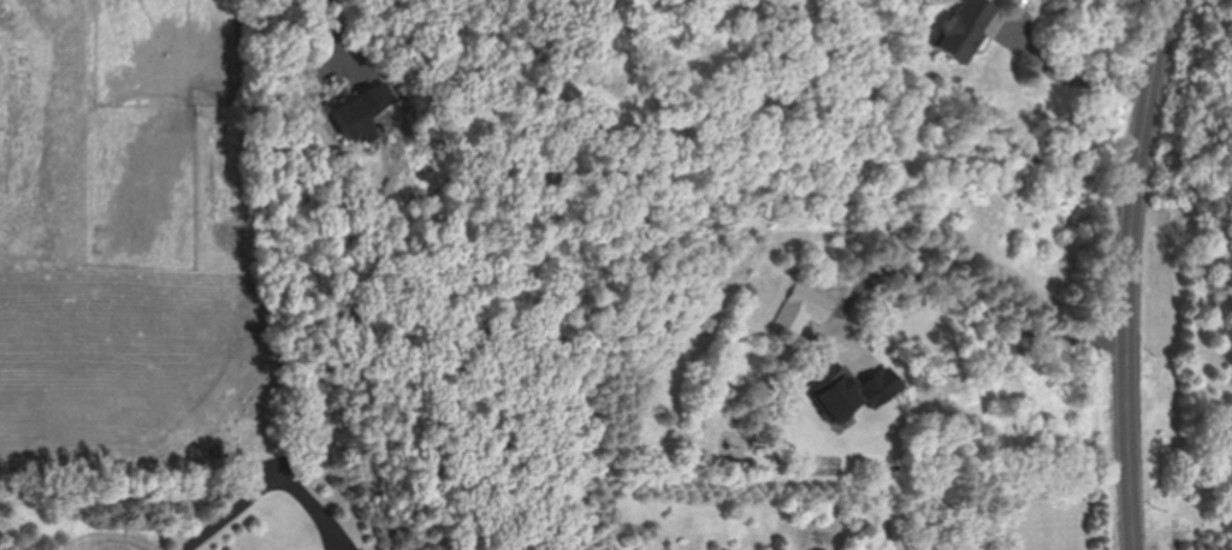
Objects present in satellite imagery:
building: (966, 26)
road: (344, 35)
road: (1084, 83)
road: (1137, 272)
road: (958, 289)
building: (805, 308)
building: (846, 401)
road: (255, 472)

